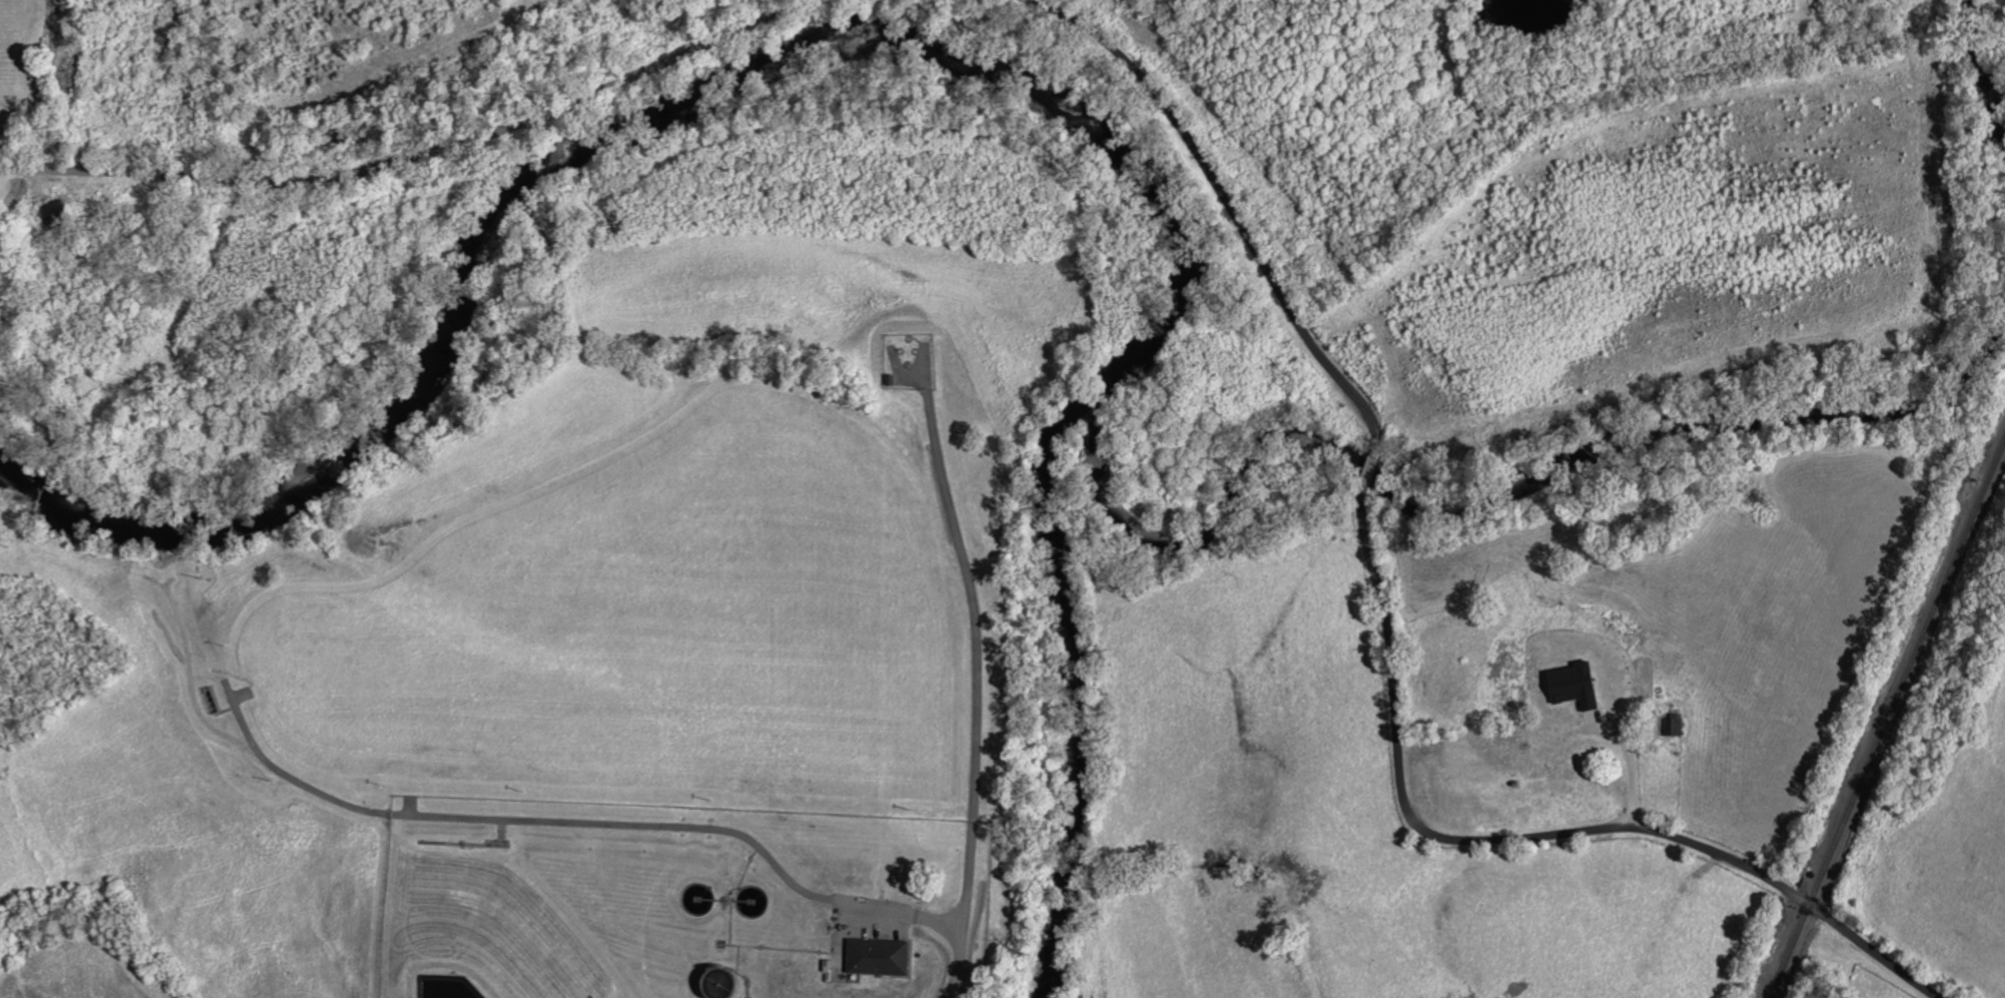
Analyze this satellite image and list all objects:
road: (418, 155)
road: (1389, 637)
building: (1572, 687)
road: (979, 695)
railway: (1888, 721)
road: (1632, 770)
wastewater plant: (679, 902)
road: (912, 915)
building: (876, 957)

